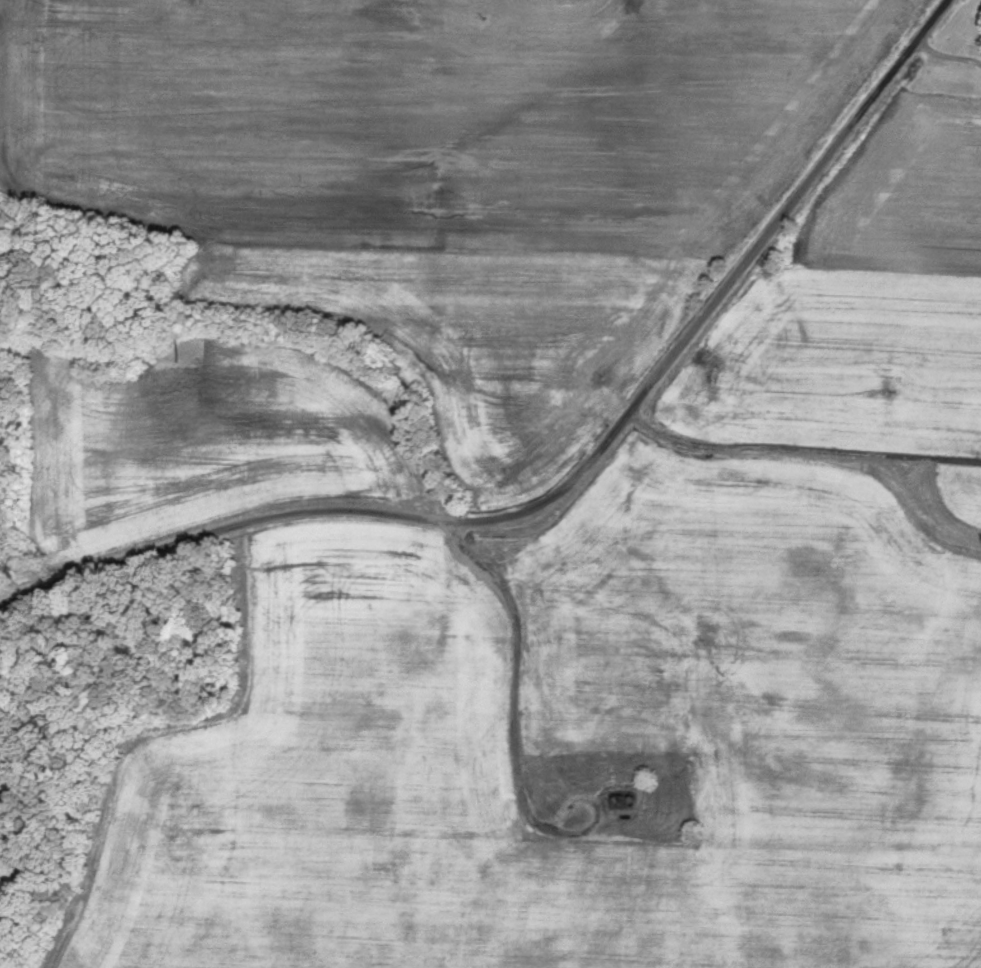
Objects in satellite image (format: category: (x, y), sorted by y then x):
road: (945, 53)
road: (6, 180)
road: (801, 447)
road: (406, 465)
road: (571, 476)
road: (516, 670)

